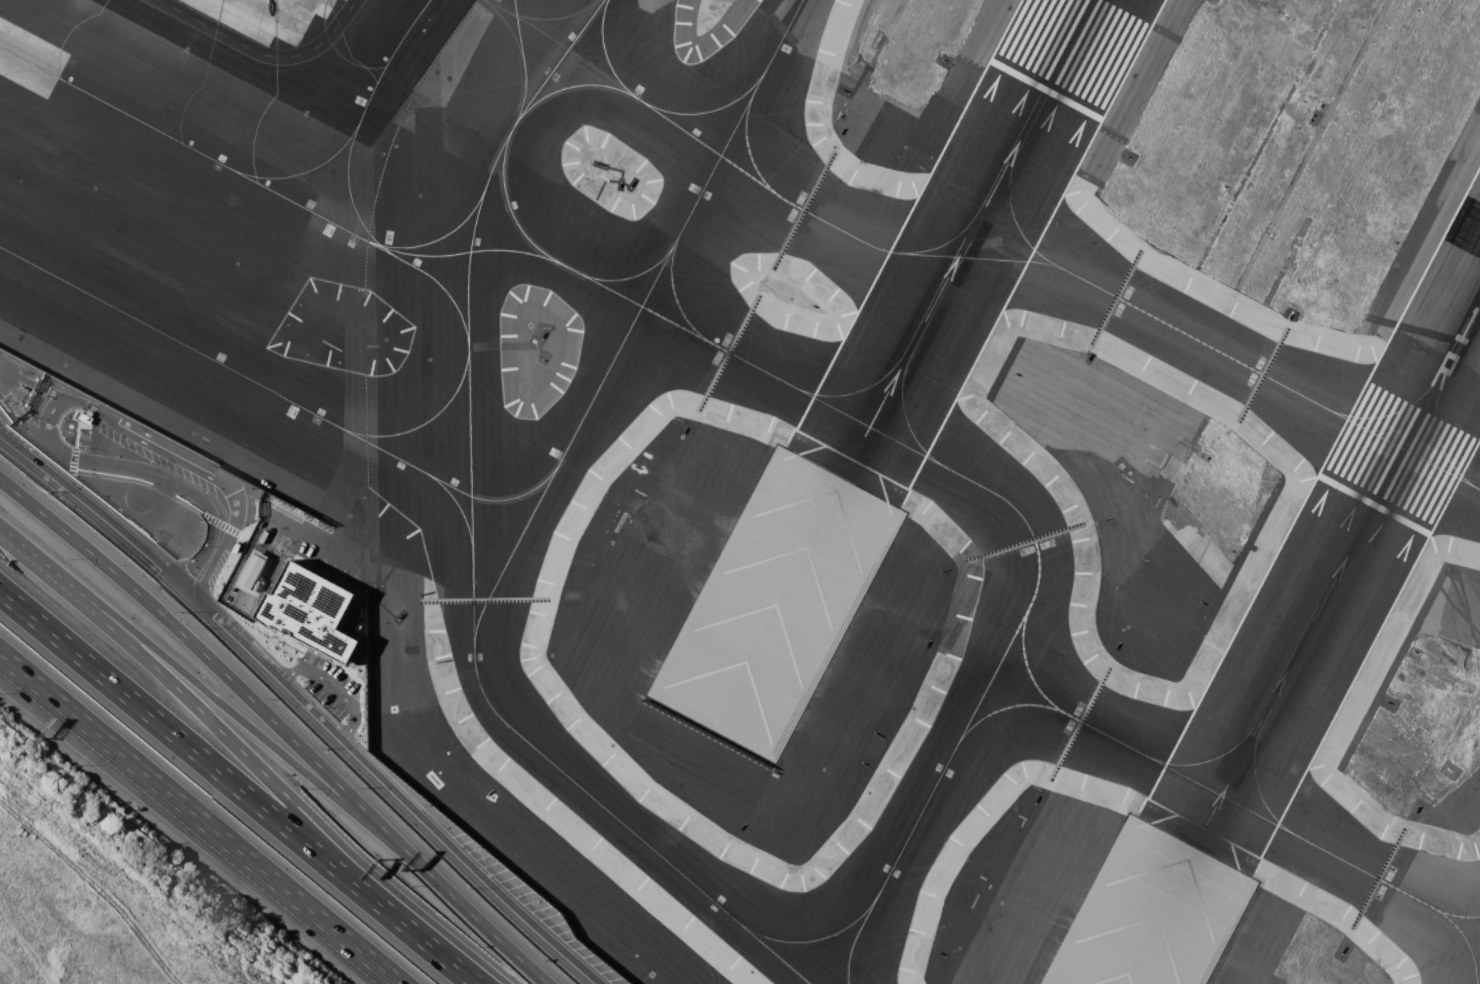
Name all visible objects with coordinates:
airport apron: (271, 17)
airport runway: (1067, 45)
airport taxiway: (604, 49)
road: (260, 53)
airport taxiway: (566, 86)
airport taxiway: (708, 109)
airport taxiway: (359, 115)
airport taxiway: (745, 139)
airport taxiway: (298, 173)
airport taxiway: (1006, 186)
airport taxiway: (989, 187)
airport taxiway: (509, 203)
airport taxiway: (344, 227)
airport taxiway: (432, 238)
airport taxiway: (1059, 267)
airport runway: (948, 273)
airport taxiway: (632, 274)
airport taxiway: (435, 278)
airport taxiway: (632, 318)
airport taxiway: (738, 357)
road: (36, 386)
airport taxiway: (274, 391)
airport runway: (1427, 406)
building: (81, 416)
road: (23, 419)
airport taxiway: (421, 421)
road: (75, 434)
parking lot: (82, 436)
road: (164, 447)
airport: (831, 447)
road: (19, 453)
road: (71, 458)
road: (77, 459)
road: (139, 481)
airport taxiway: (993, 493)
airport taxiway: (455, 502)
airport taxiway: (470, 505)
road: (232, 519)
road: (220, 523)
road: (241, 535)
building: (234, 546)
road: (205, 563)
road: (228, 567)
road: (48, 568)
building: (250, 571)
building: (310, 609)
road: (180, 631)
road: (1, 658)
airport taxiway: (1027, 666)
airport runway: (1288, 667)
parking lot: (328, 684)
road: (333, 688)
road: (221, 702)
road: (192, 703)
airport taxiway: (1005, 707)
road: (319, 723)
road: (178, 739)
airport taxiway: (1160, 758)
airport taxiway: (1214, 788)
airport taxiway: (914, 821)
road: (199, 822)
airport taxiway: (1304, 836)
road: (325, 842)
road: (98, 886)
road: (446, 892)
airport taxiway: (1453, 911)
park: (85, 913)
road: (417, 935)
airport taxiway: (1460, 940)
airport taxiway: (778, 954)

